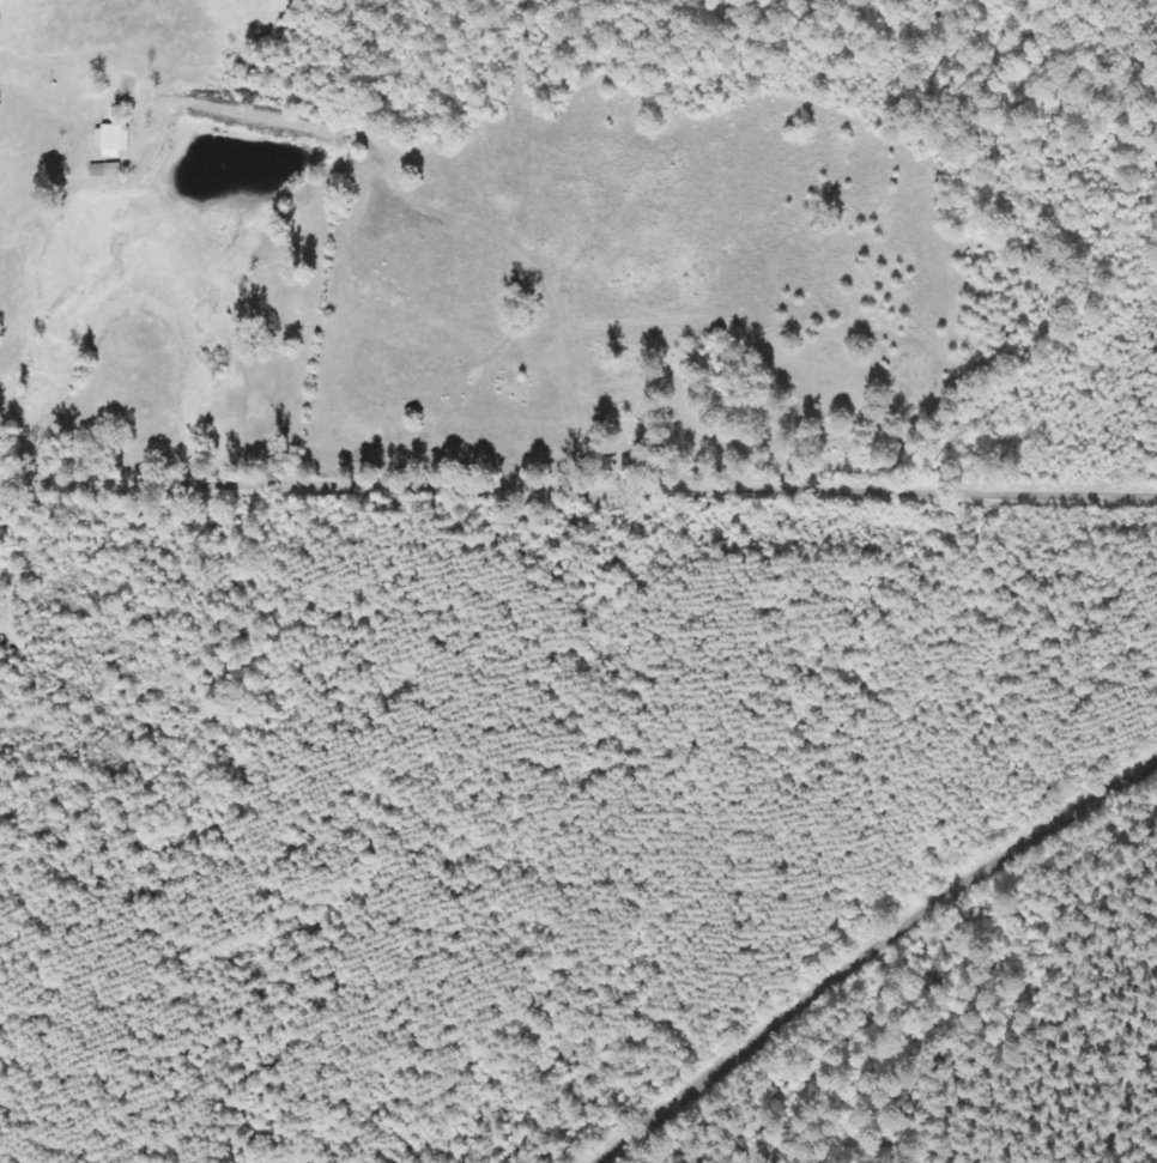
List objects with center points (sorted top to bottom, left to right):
building: (114, 140)
building: (108, 170)
road: (578, 520)
road: (888, 958)

